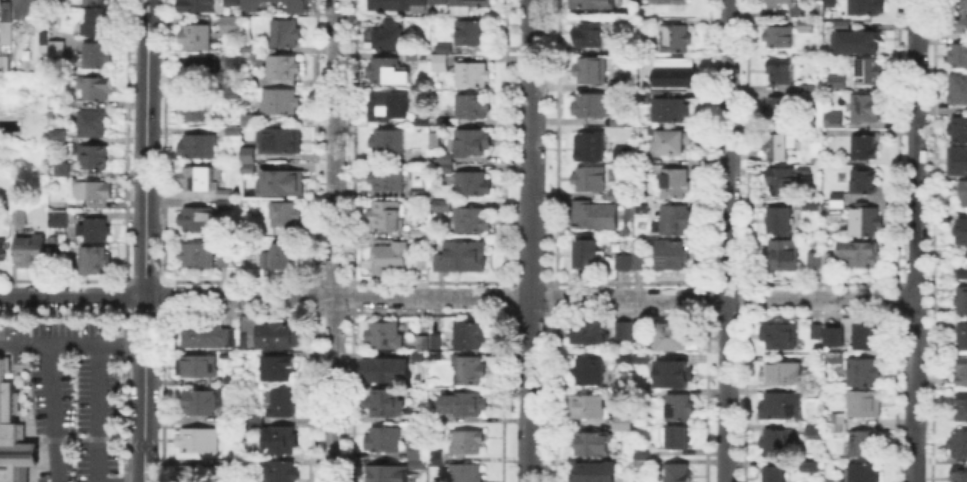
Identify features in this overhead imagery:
building: (96, 1)
building: (231, 2)
building: (439, 2)
building: (670, 2)
building: (1, 3)
building: (781, 3)
building: (832, 3)
building: (956, 3)
building: (250, 4)
building: (296, 4)
building: (392, 5)
building: (592, 5)
road: (142, 6)
building: (467, 6)
road: (151, 7)
building: (867, 7)
building: (27, 8)
building: (199, 9)
building: (94, 20)
building: (232, 24)
building: (843, 25)
building: (961, 26)
building: (808, 28)
building: (471, 33)
building: (285, 34)
building: (6, 36)
building: (588, 36)
building: (779, 36)
building: (196, 37)
building: (388, 37)
building: (676, 38)
building: (44, 39)
building: (865, 42)
building: (53, 47)
building: (250, 47)
building: (416, 55)
building: (959, 55)
building: (98, 56)
building: (441, 57)
building: (659, 60)
building: (230, 61)
building: (5, 63)
building: (283, 68)
building: (591, 69)
building: (388, 72)
building: (781, 72)
building: (869, 72)
building: (200, 74)
building: (472, 74)
building: (677, 74)
building: (834, 80)
building: (808, 87)
building: (841, 87)
building: (95, 88)
building: (958, 90)
building: (233, 95)
building: (280, 102)
building: (68, 103)
building: (385, 106)
building: (471, 106)
building: (594, 106)
building: (868, 108)
building: (780, 109)
building: (193, 110)
building: (668, 110)
building: (54, 114)
building: (834, 120)
building: (248, 121)
building: (443, 121)
building: (421, 122)
building: (93, 123)
building: (617, 123)
building: (9, 125)
building: (960, 130)
building: (233, 132)
building: (57, 136)
building: (280, 141)
building: (473, 142)
building: (387, 144)
building: (672, 144)
building: (591, 145)
building: (198, 146)
building: (776, 146)
building: (865, 147)
building: (249, 151)
building: (624, 154)
building: (91, 156)
building: (444, 157)
building: (955, 164)
building: (245, 166)
building: (445, 167)
building: (60, 169)
building: (804, 169)
building: (198, 179)
building: (282, 179)
building: (388, 179)
building: (589, 180)
building: (782, 180)
building: (866, 183)
building: (676, 185)
building: (474, 186)
building: (93, 192)
building: (416, 192)
building: (616, 193)
building: (964, 194)
building: (225, 200)
building: (838, 202)
building: (808, 204)
building: (442, 208)
building: (284, 215)
building: (595, 215)
building: (385, 216)
building: (19, 218)
building: (58, 220)
building: (474, 220)
building: (196, 221)
building: (676, 221)
building: (867, 221)
building: (779, 222)
building: (963, 230)
building: (97, 232)
building: (417, 233)
road: (911, 240)
road: (335, 241)
road: (529, 241)
road: (727, 241)
road: (144, 247)
building: (2, 248)
building: (31, 253)
building: (638, 253)
building: (861, 254)
building: (197, 256)
building: (588, 256)
building: (782, 256)
building: (222, 257)
building: (463, 257)
building: (672, 257)
building: (280, 259)
building: (390, 260)
building: (820, 260)
building: (622, 261)
building: (95, 262)
building: (424, 264)
building: (964, 264)
road: (455, 297)
building: (962, 303)
building: (814, 328)
building: (623, 330)
building: (640, 331)
building: (469, 333)
building: (588, 334)
building: (208, 336)
building: (386, 336)
building: (275, 337)
building: (865, 337)
building: (779, 338)
building: (963, 338)
building: (674, 339)
road: (71, 343)
building: (422, 344)
building: (833, 356)
building: (420, 357)
building: (635, 358)
building: (834, 361)
building: (200, 367)
building: (279, 370)
building: (471, 370)
building: (962, 371)
building: (389, 372)
building: (588, 373)
building: (862, 373)
building: (782, 374)
building: (676, 376)
building: (234, 382)
building: (812, 390)
parking lot: (68, 395)
building: (200, 402)
building: (283, 403)
building: (386, 403)
building: (465, 404)
building: (865, 405)
building: (783, 407)
building: (587, 408)
building: (961, 408)
building: (681, 409)
road: (52, 412)
road: (94, 412)
building: (836, 415)
building: (428, 420)
building: (256, 422)
building: (624, 425)
building: (815, 429)
building: (838, 429)
building: (13, 434)
road: (86, 438)
building: (676, 439)
building: (385, 440)
building: (281, 441)
building: (200, 442)
building: (468, 444)
building: (959, 444)
building: (777, 445)
building: (865, 445)
building: (592, 446)
building: (416, 452)
building: (432, 456)
building: (437, 460)
building: (643, 460)
building: (811, 465)
building: (418, 466)
building: (281, 473)
building: (468, 473)
building: (594, 473)
building: (677, 473)
building: (199, 474)
building: (864, 474)
building: (959, 474)
building: (386, 475)
building: (776, 476)
road: (27, 478)
road: (132, 481)

